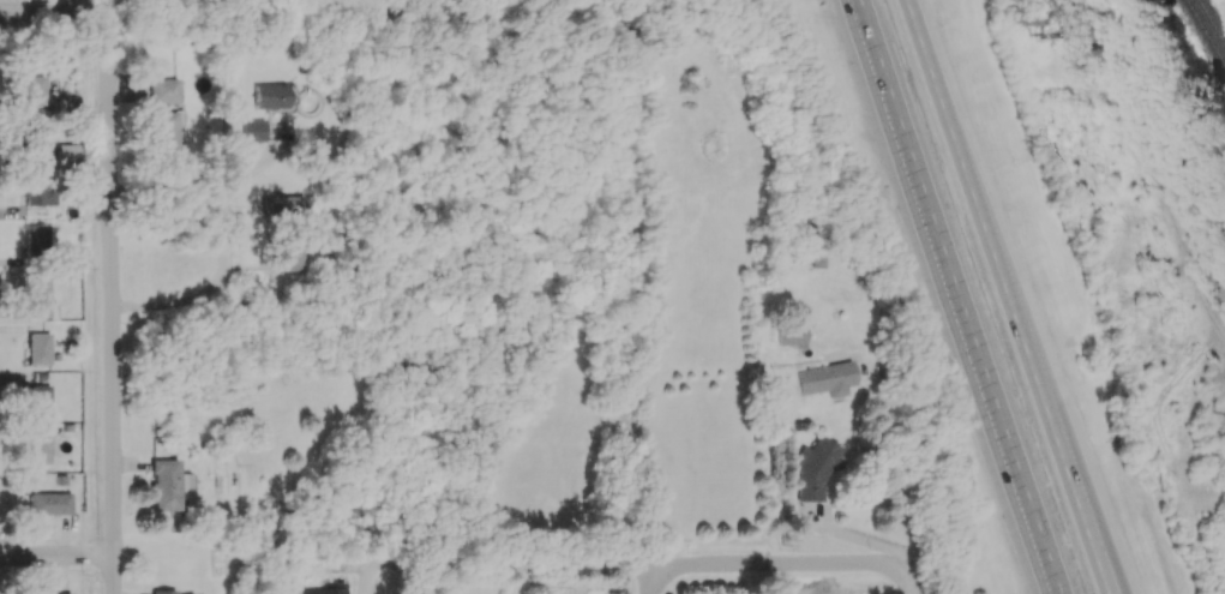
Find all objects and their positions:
road: (83, 10)
road: (56, 19)
railway: (1209, 26)
railway: (1203, 36)
building: (32, 90)
building: (163, 90)
building: (272, 96)
building: (67, 102)
road: (947, 104)
building: (163, 130)
building: (253, 132)
building: (32, 142)
building: (66, 152)
road: (169, 185)
building: (32, 193)
building: (286, 204)
building: (35, 239)
road: (224, 245)
building: (289, 258)
building: (38, 296)
road: (953, 296)
road: (116, 306)
road: (656, 328)
building: (792, 334)
building: (38, 348)
building: (827, 378)
building: (37, 400)
road: (1047, 401)
building: (37, 449)
building: (818, 467)
road: (899, 470)
building: (167, 484)
building: (49, 503)
road: (59, 558)
road: (449, 559)
road: (699, 566)
road: (661, 580)
road: (780, 581)
road: (912, 584)
building: (326, 589)
building: (163, 592)
building: (54, 593)

